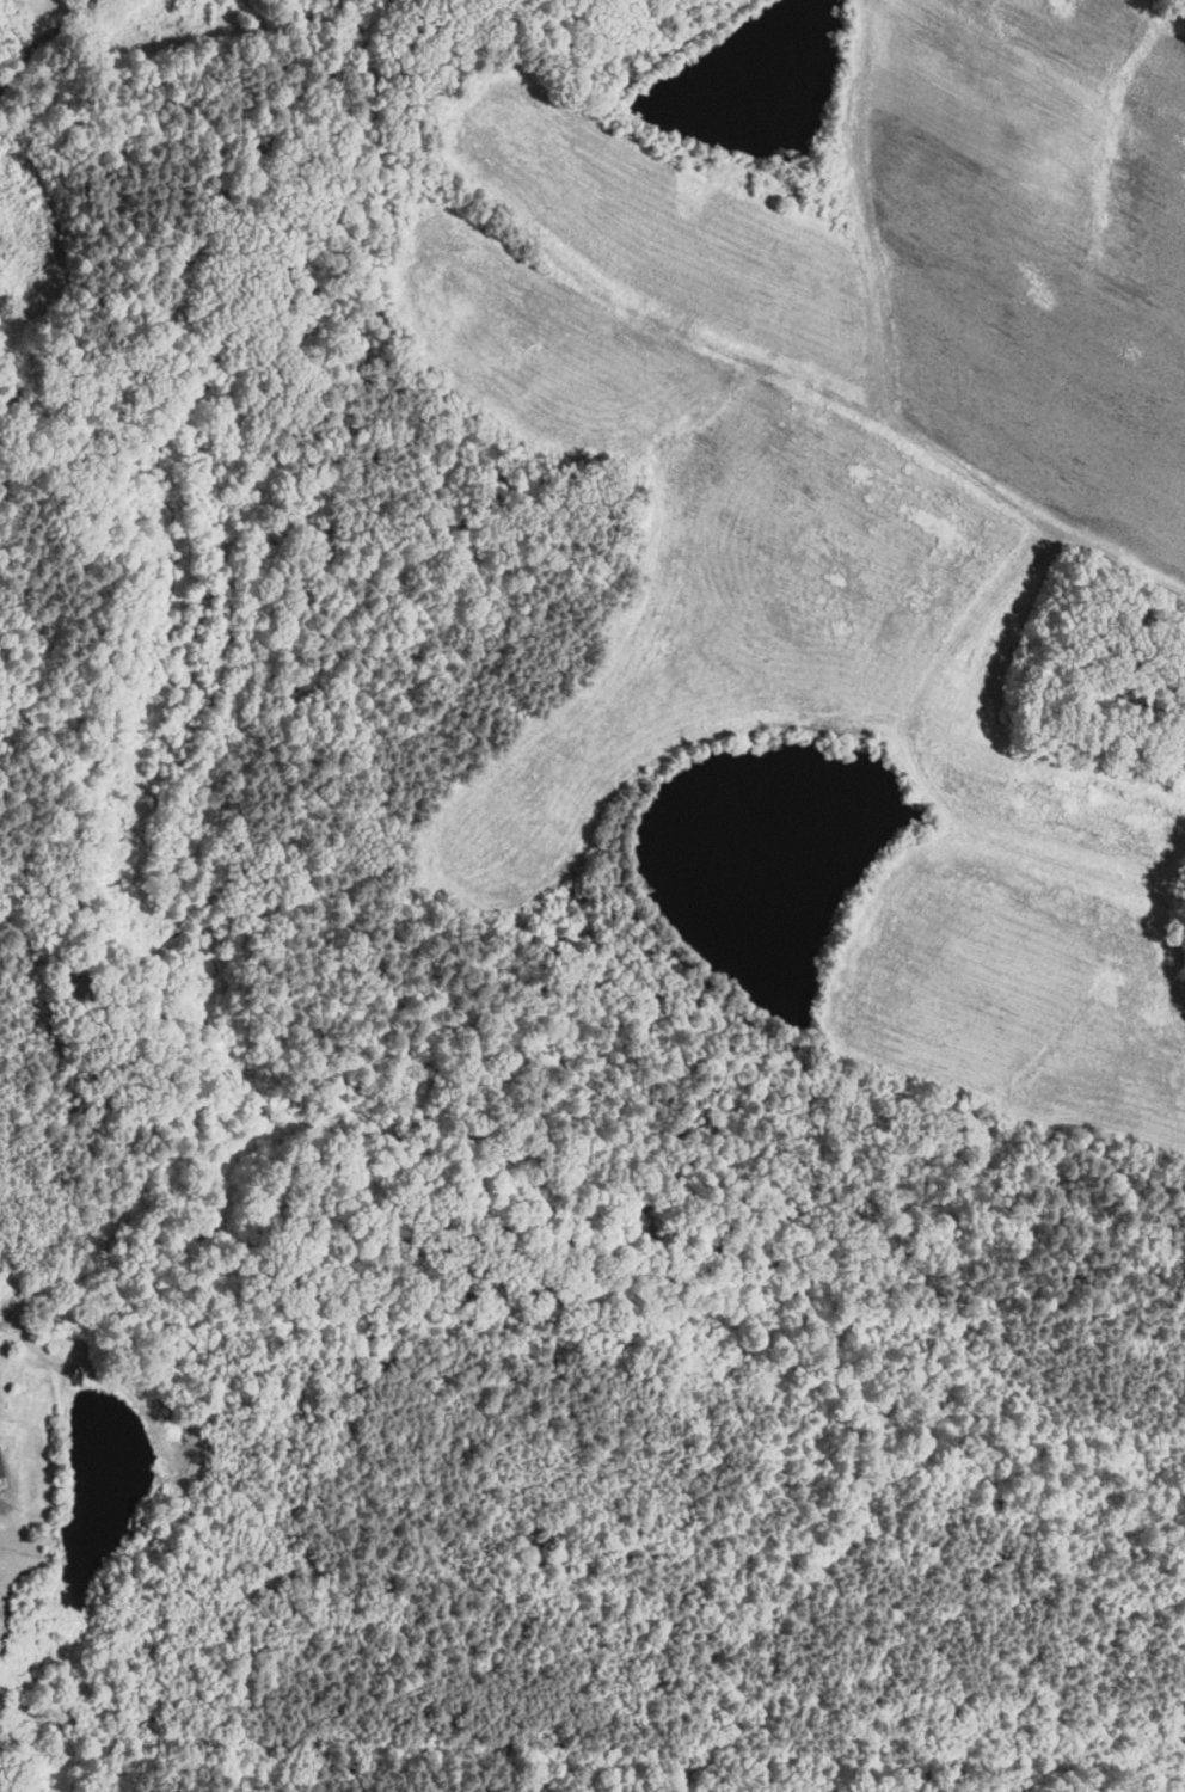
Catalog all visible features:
road: (53, 42)
building: (0, 1467)

